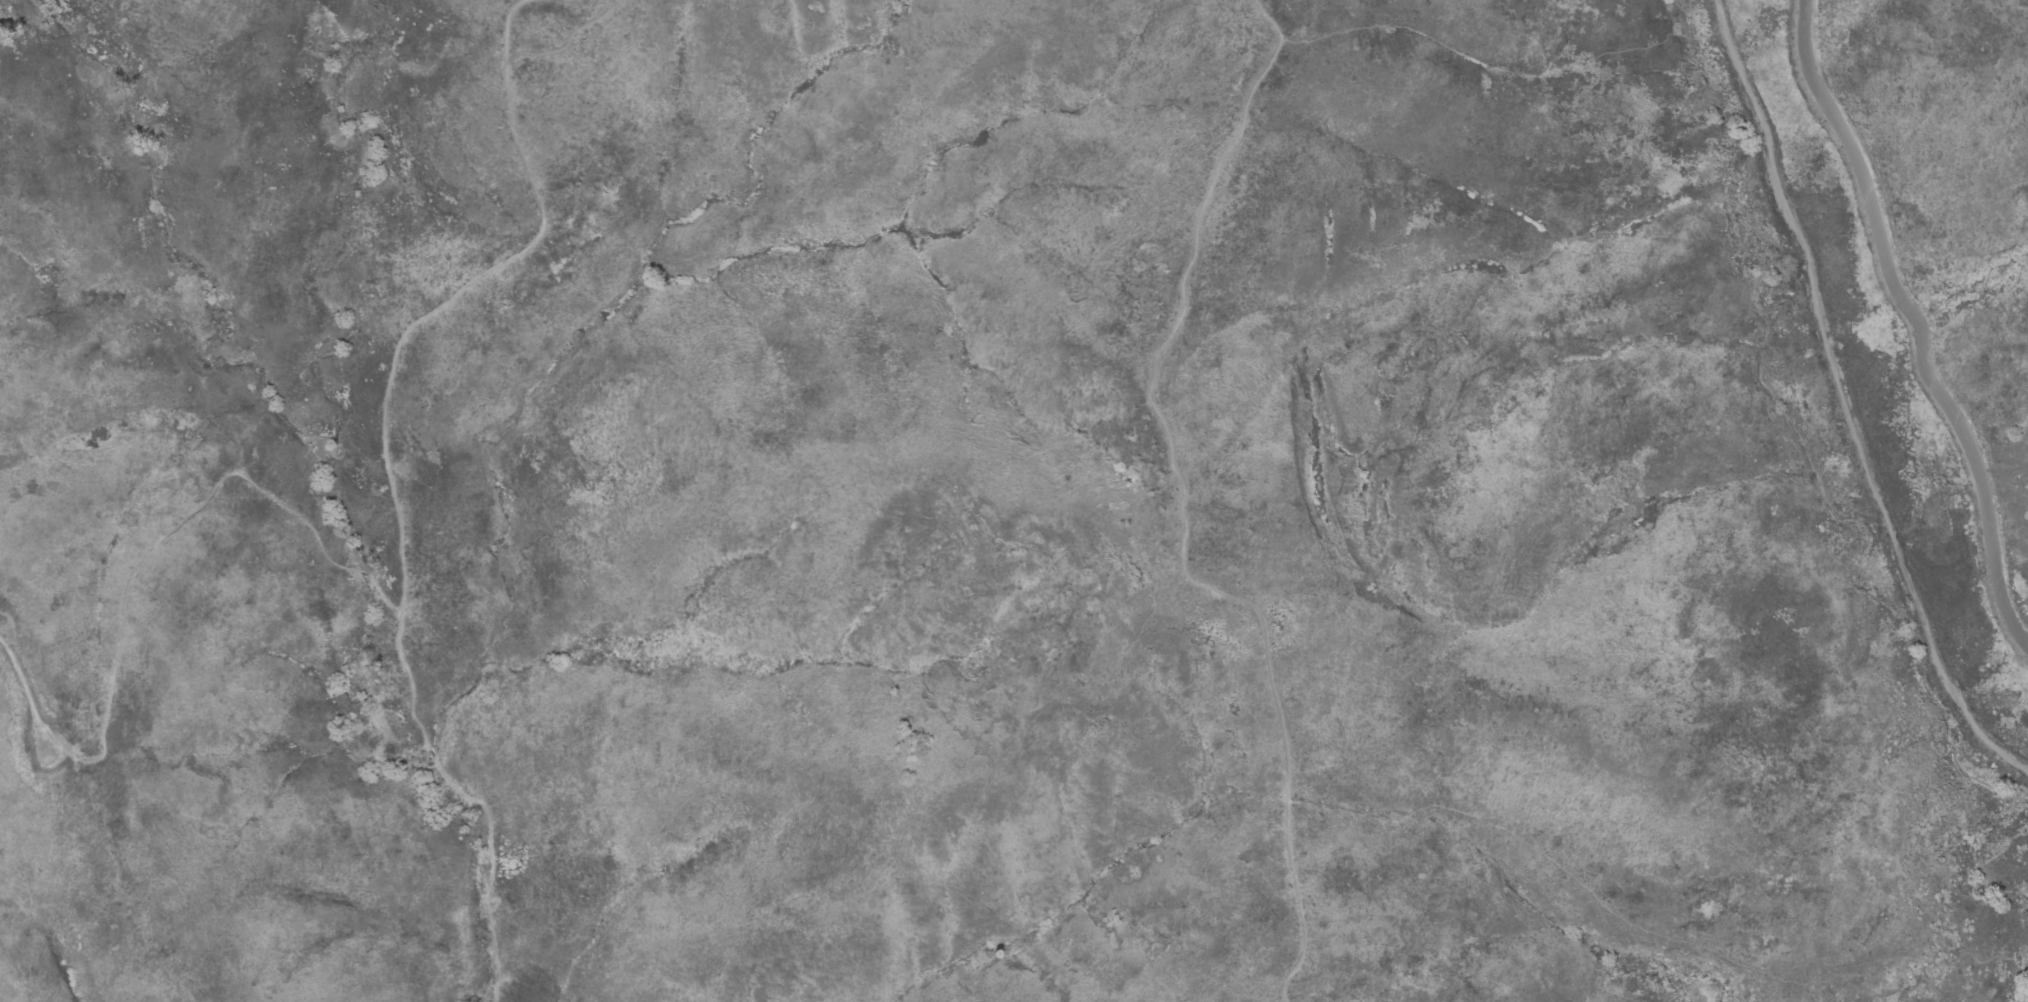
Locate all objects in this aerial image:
road: (569, 44)
road: (1916, 323)
road: (1845, 400)
road: (388, 475)
road: (1181, 510)
road: (163, 536)
road: (21, 694)
power tower: (56, 743)

